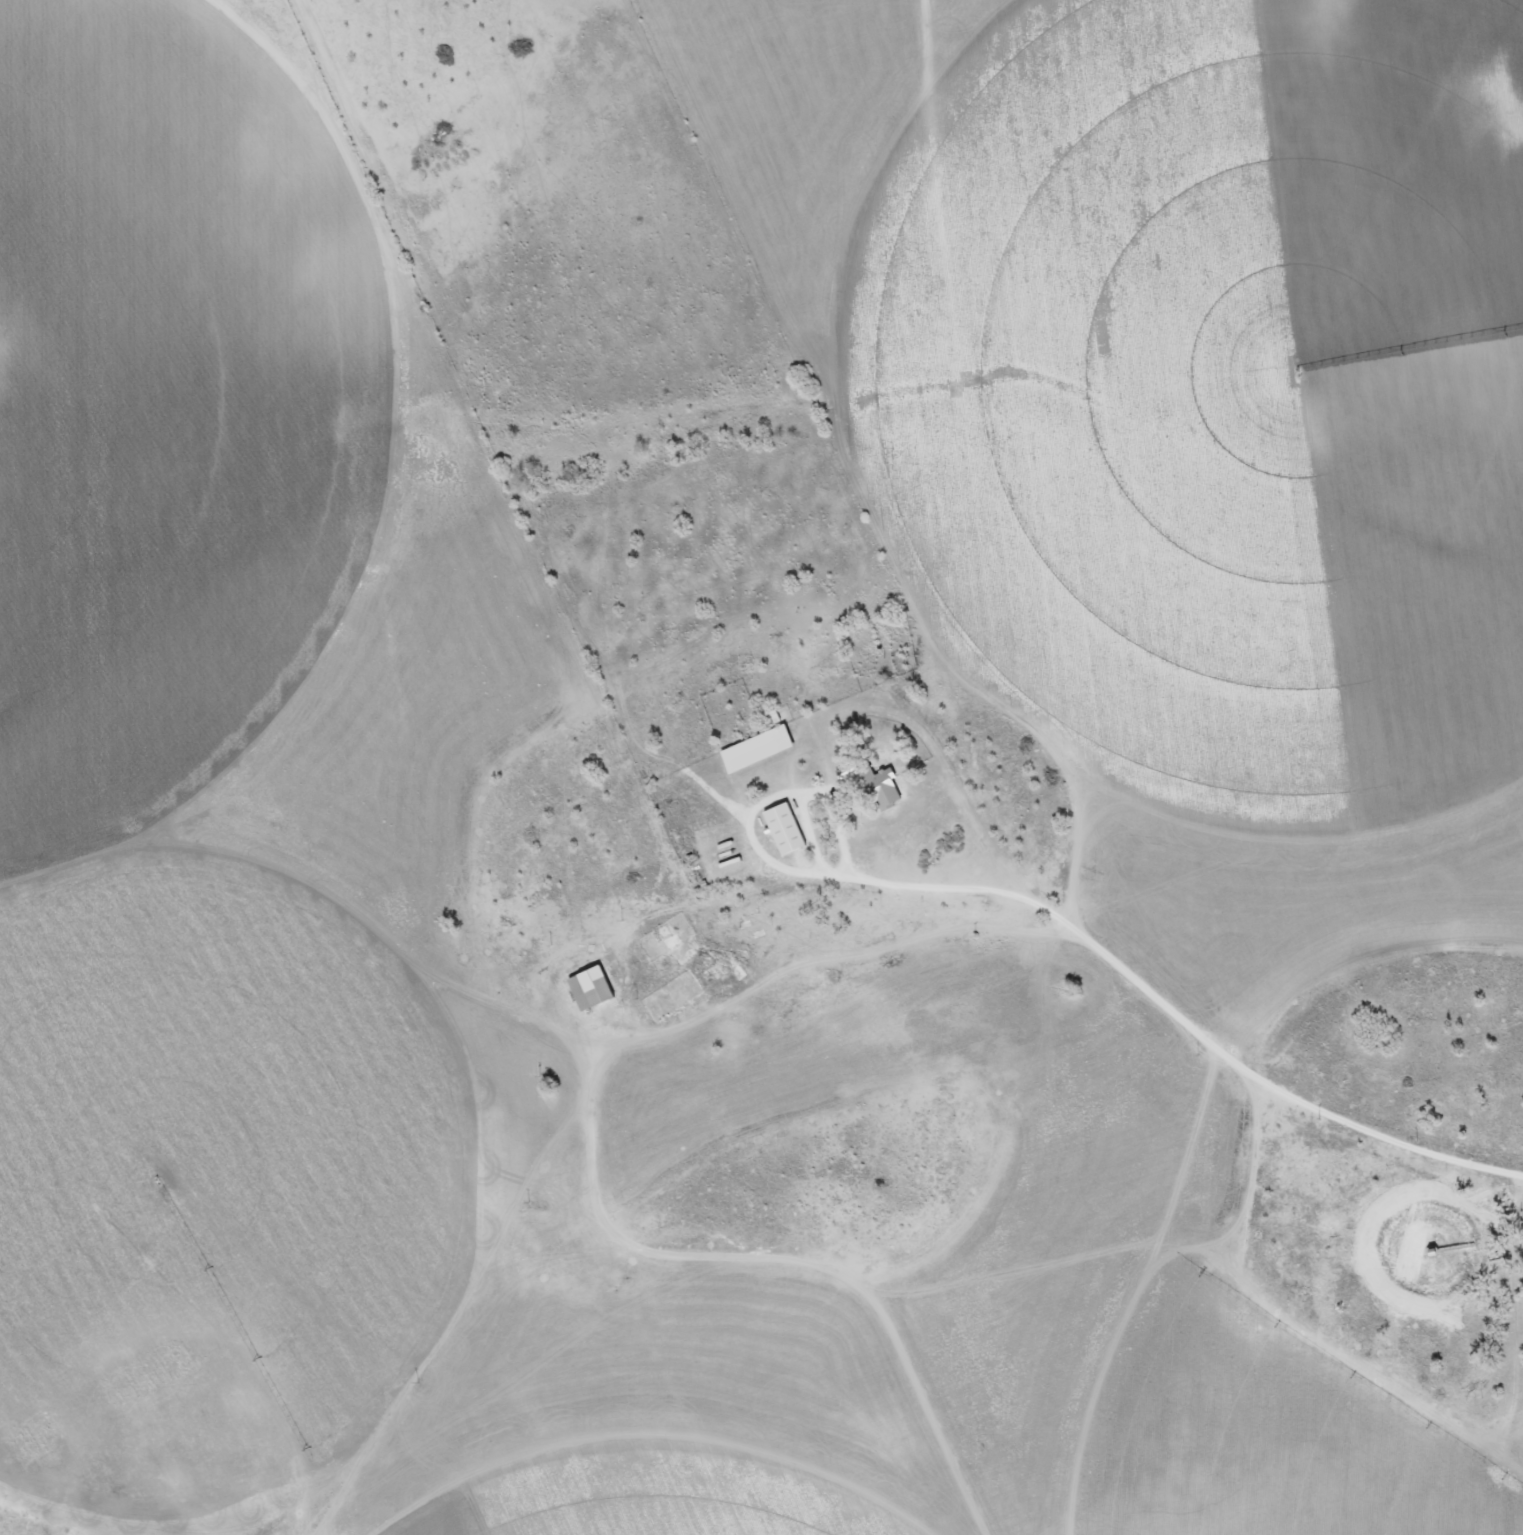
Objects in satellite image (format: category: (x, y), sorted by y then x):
building: (754, 750)
building: (878, 790)
building: (782, 830)
building: (670, 944)
building: (717, 963)
building: (588, 989)
road: (1170, 999)

